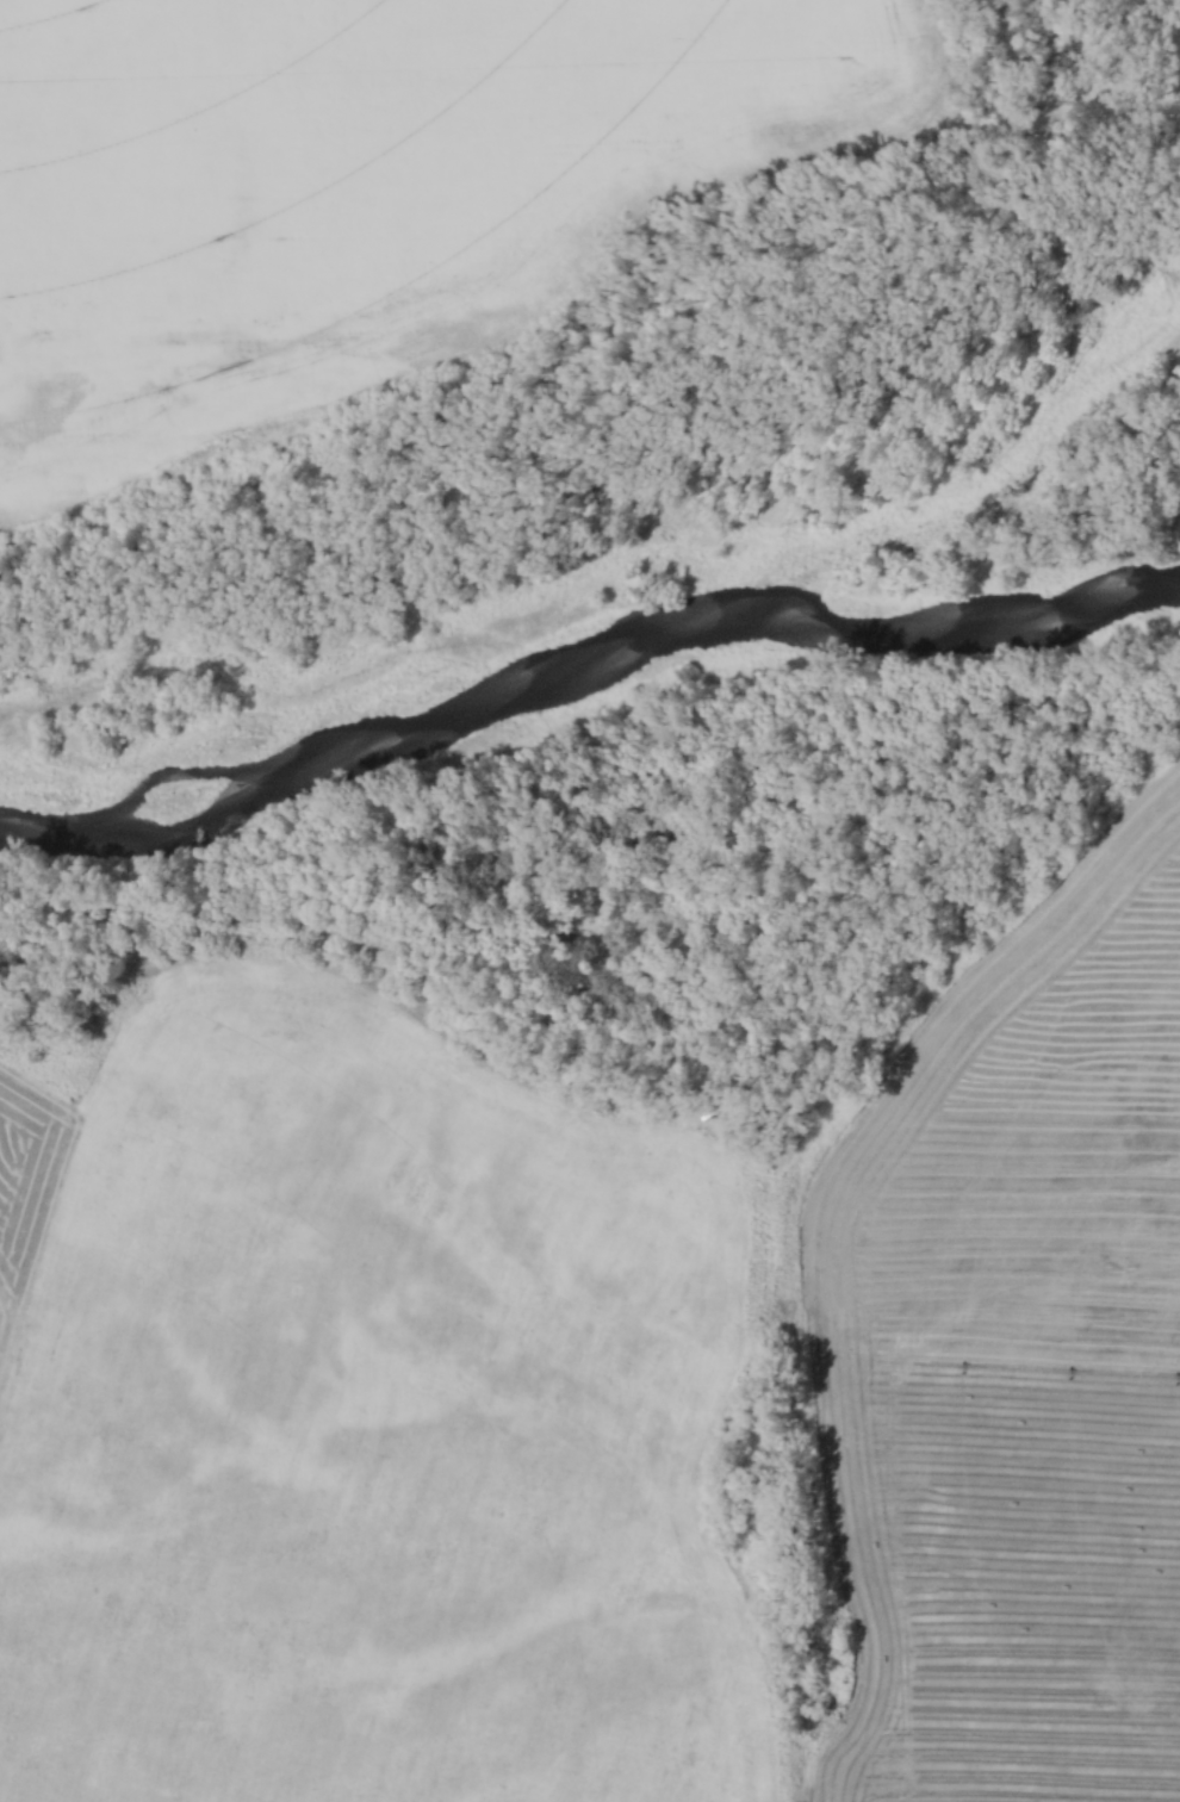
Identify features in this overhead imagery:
river: (580, 664)

